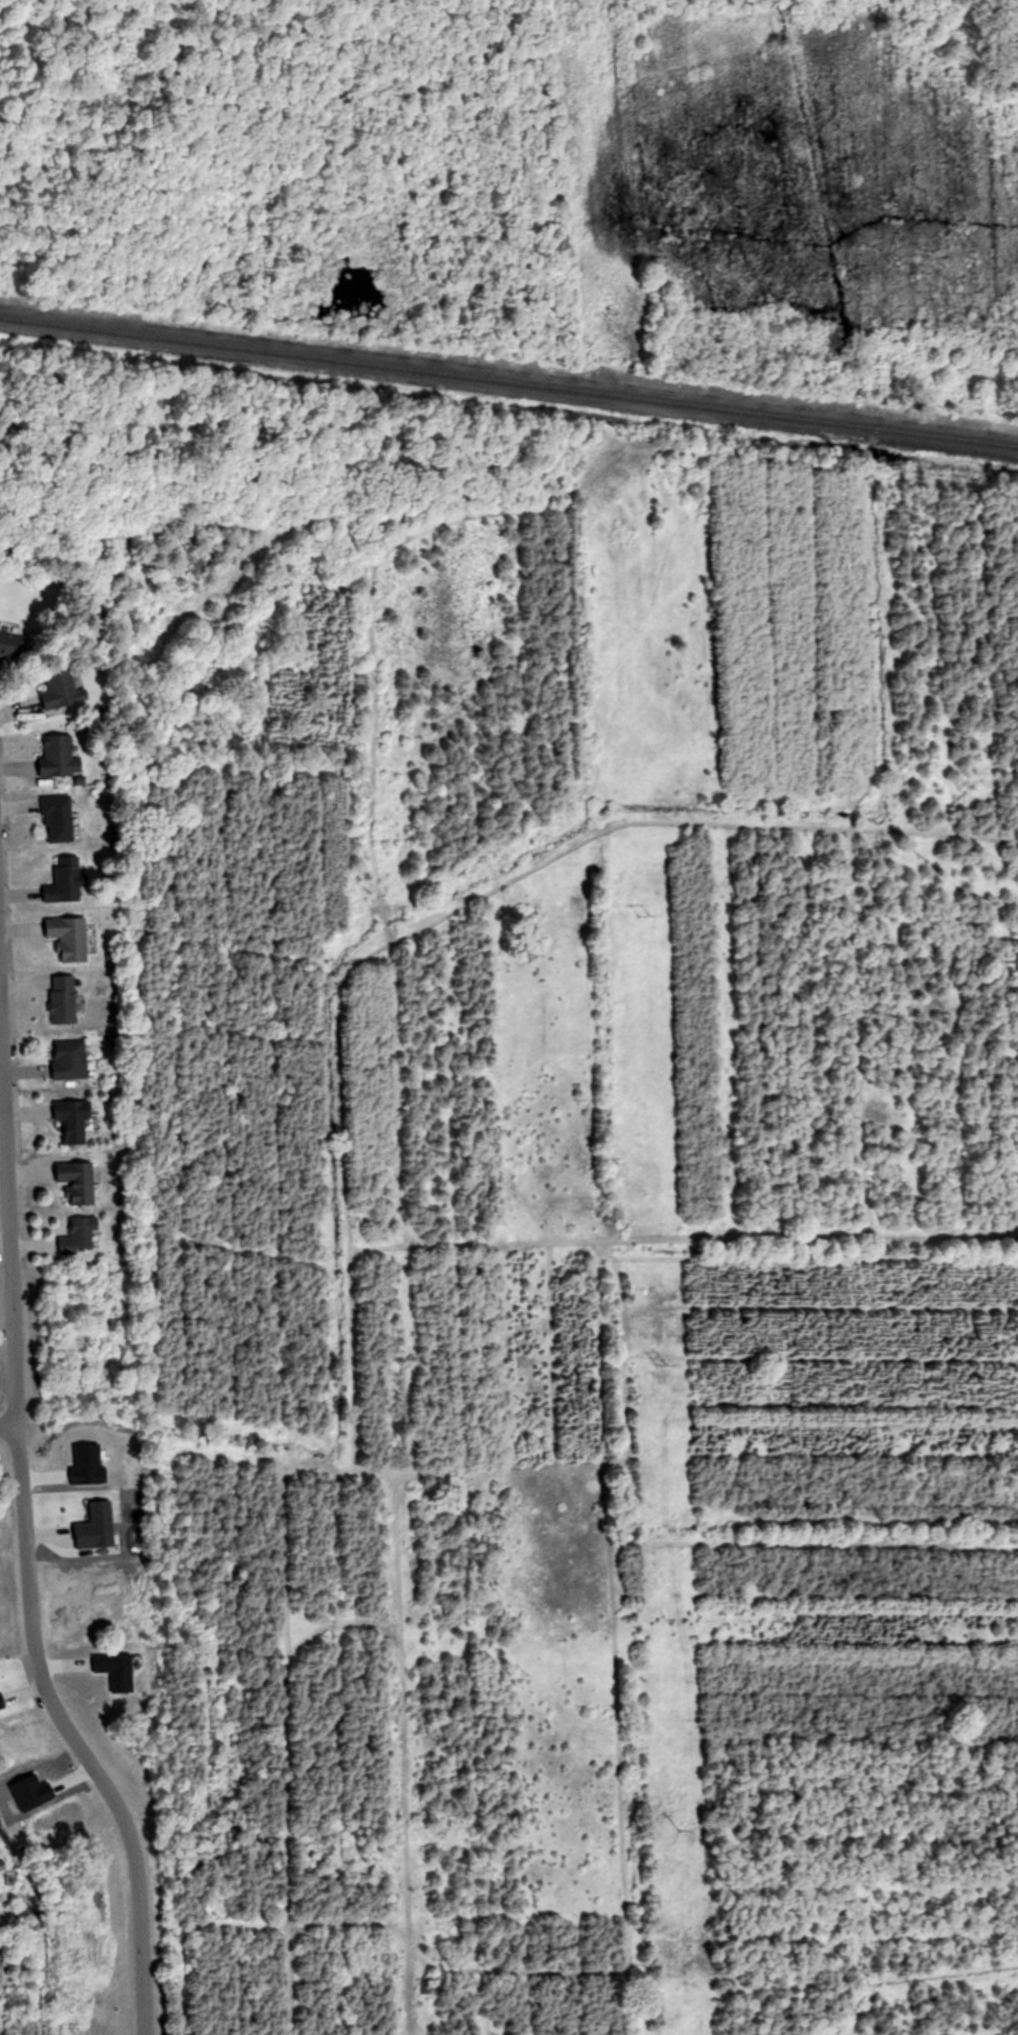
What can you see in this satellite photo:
park: (273, 250)
railway: (509, 381)
power tower: (641, 431)
building: (12, 650)
building: (59, 688)
building: (60, 756)
building: (58, 819)
building: (66, 881)
power tower: (645, 915)
building: (70, 938)
building: (64, 999)
building: (70, 1059)
building: (74, 1119)
building: (79, 1181)
building: (81, 1236)
power tower: (661, 1354)
road: (7, 1423)
road: (25, 1540)
power tower: (681, 1828)

